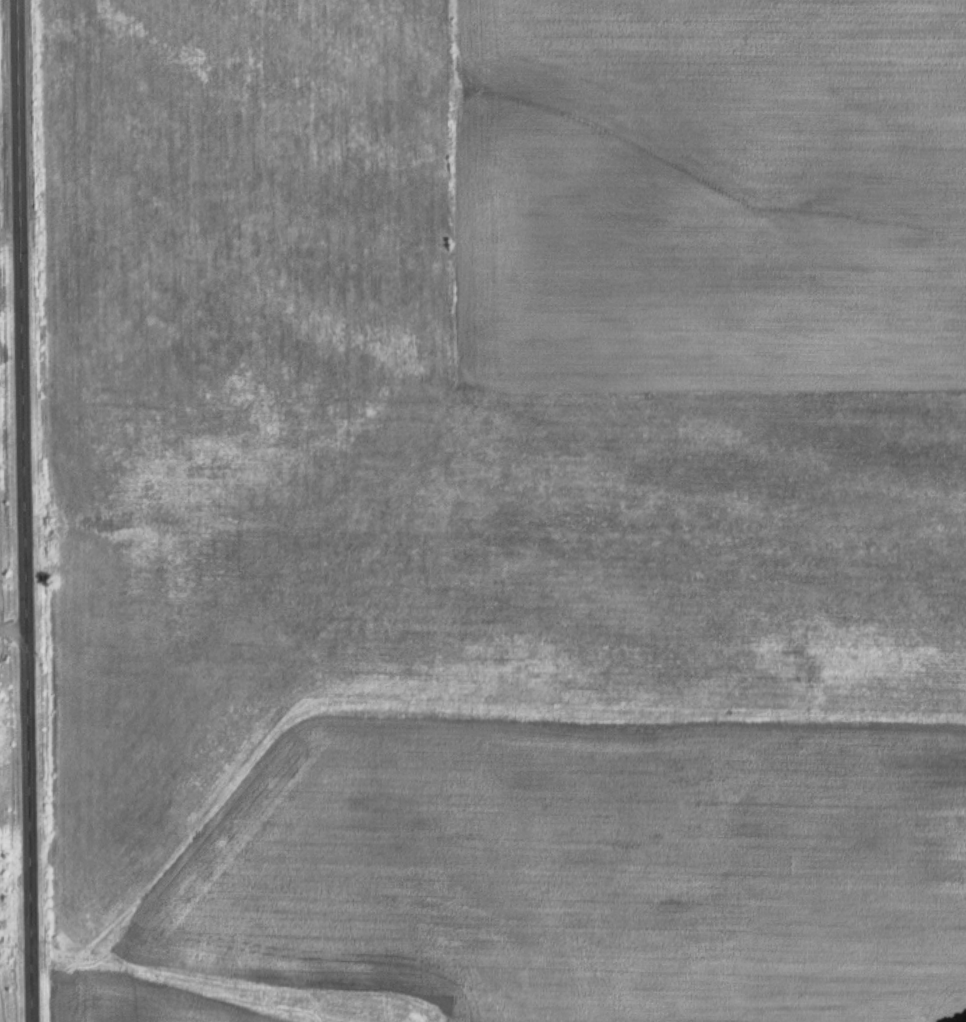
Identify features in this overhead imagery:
road: (22, 511)

